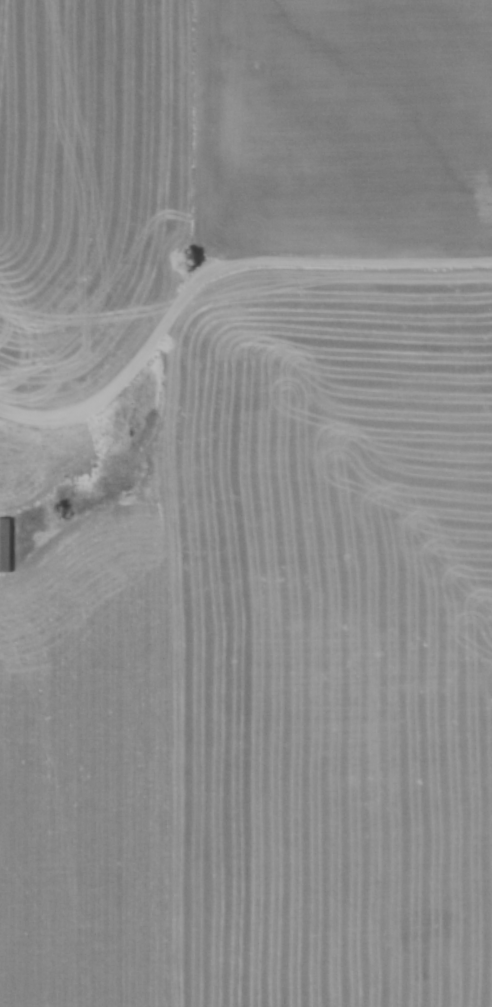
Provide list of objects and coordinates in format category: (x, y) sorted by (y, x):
building: (6, 545)

